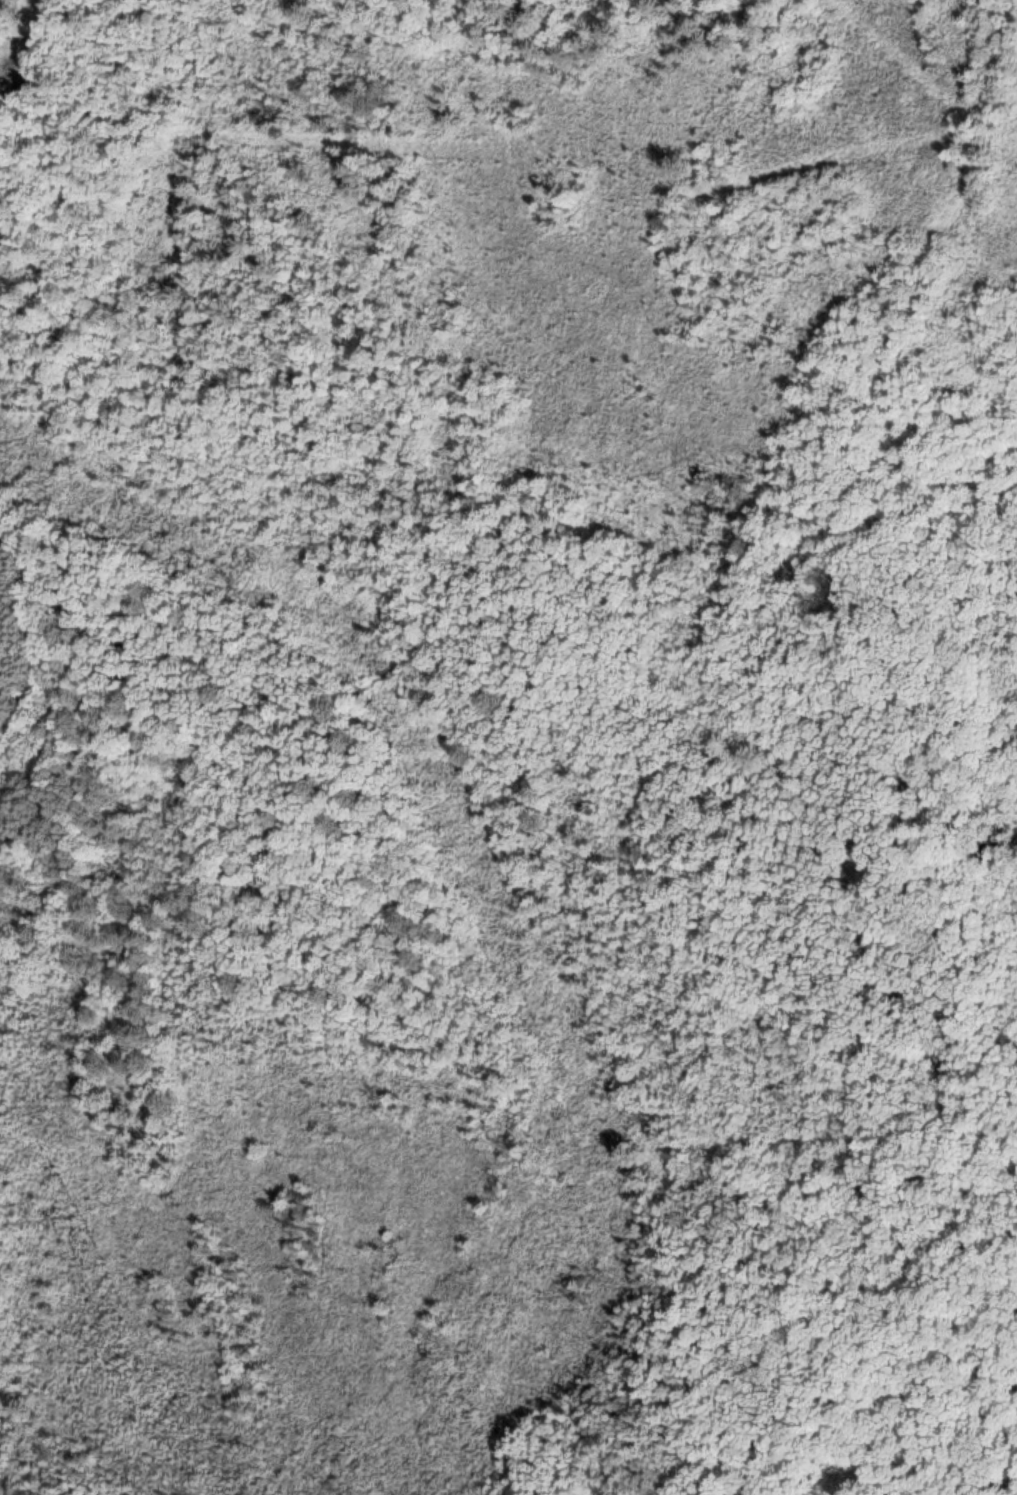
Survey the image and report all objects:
road: (5, 1490)

